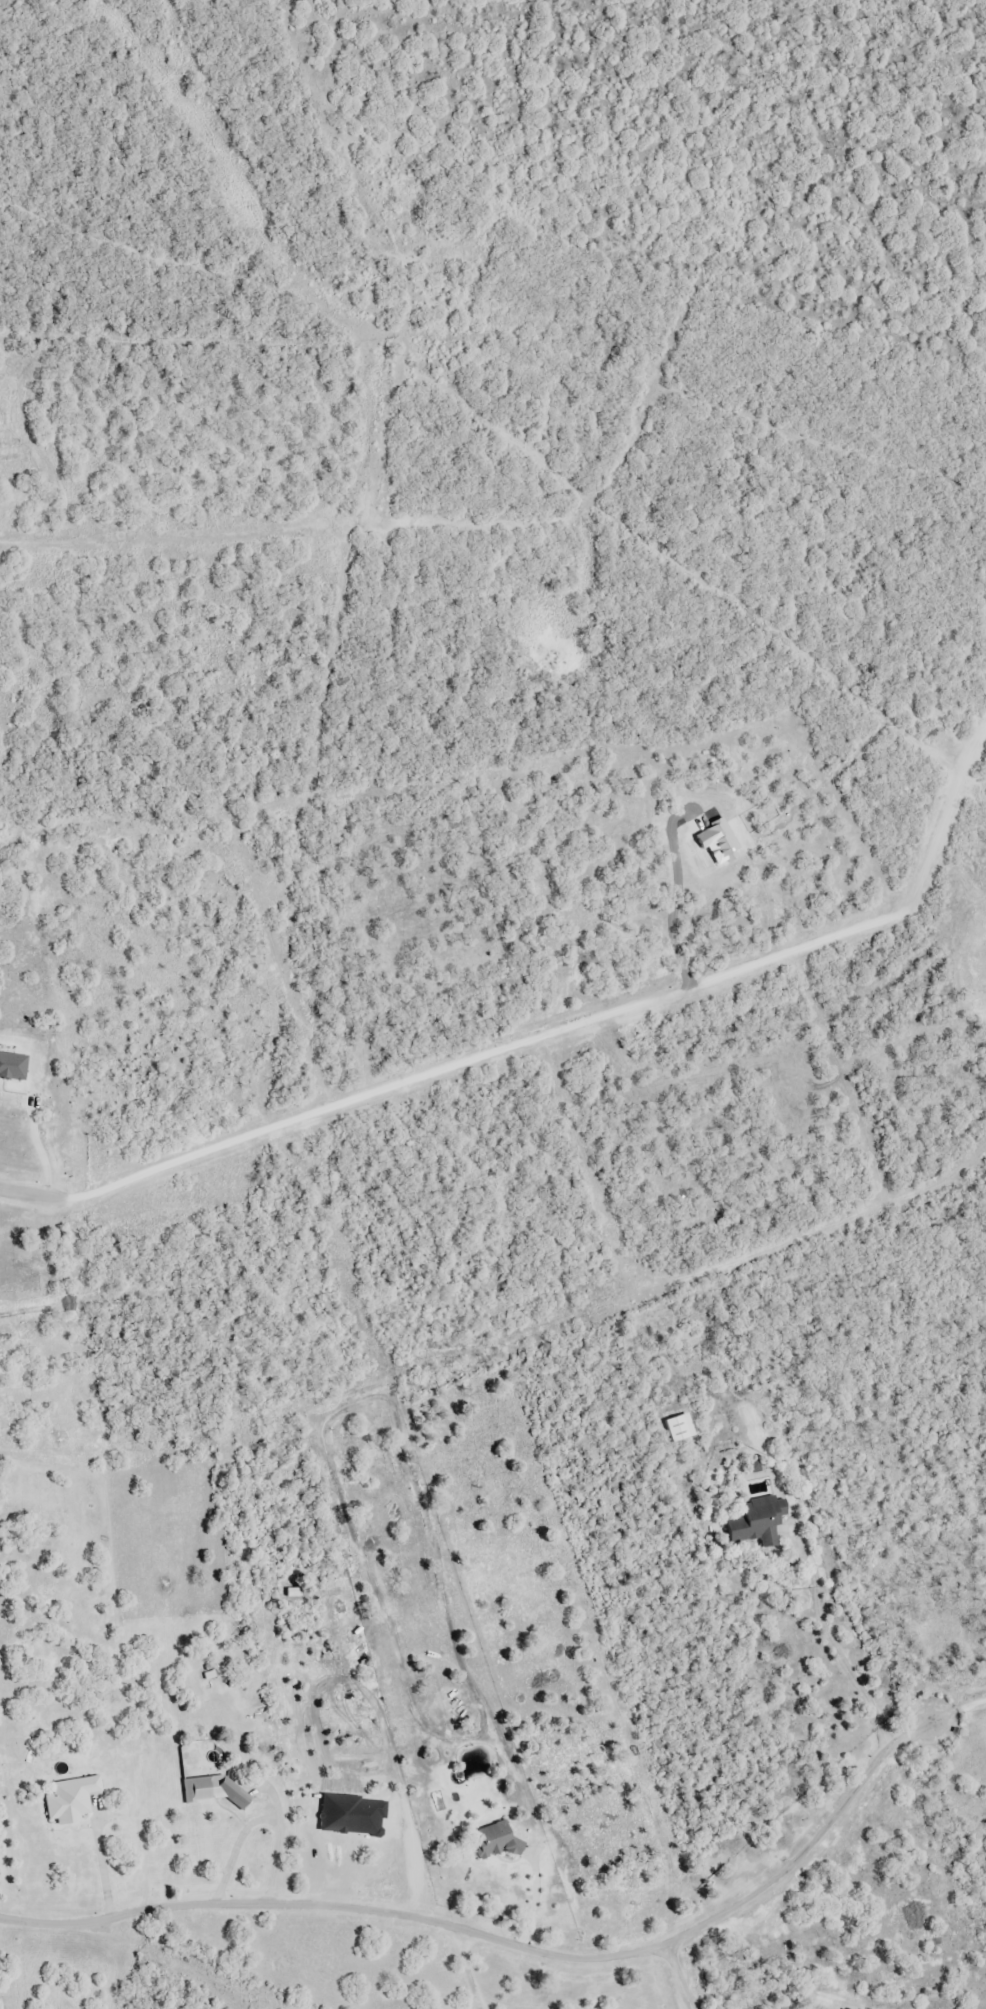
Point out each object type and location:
road: (167, 176)
road: (38, 1146)
road: (33, 1189)
building: (685, 1428)
road: (959, 1711)
road: (263, 1823)
road: (103, 1863)
road: (507, 1943)

